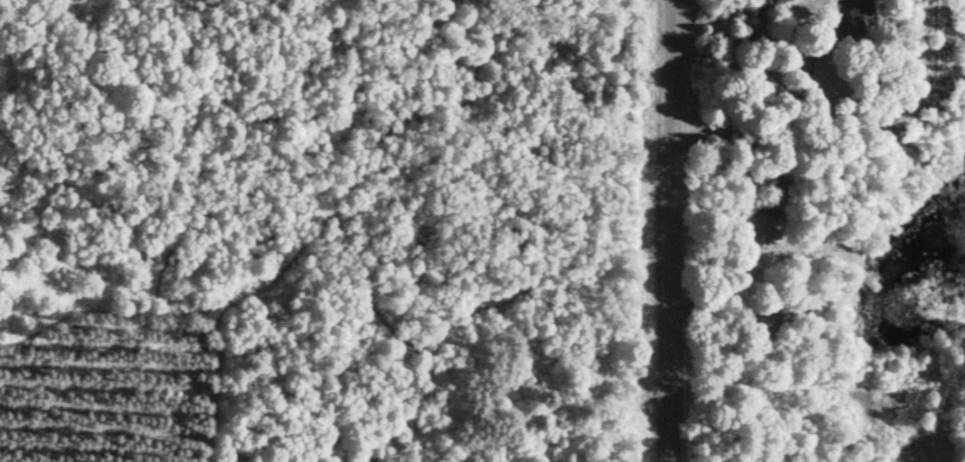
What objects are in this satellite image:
building: (858, 17)
building: (823, 61)
road: (785, 184)
building: (763, 226)
road: (676, 230)
road: (723, 308)
building: (791, 308)

